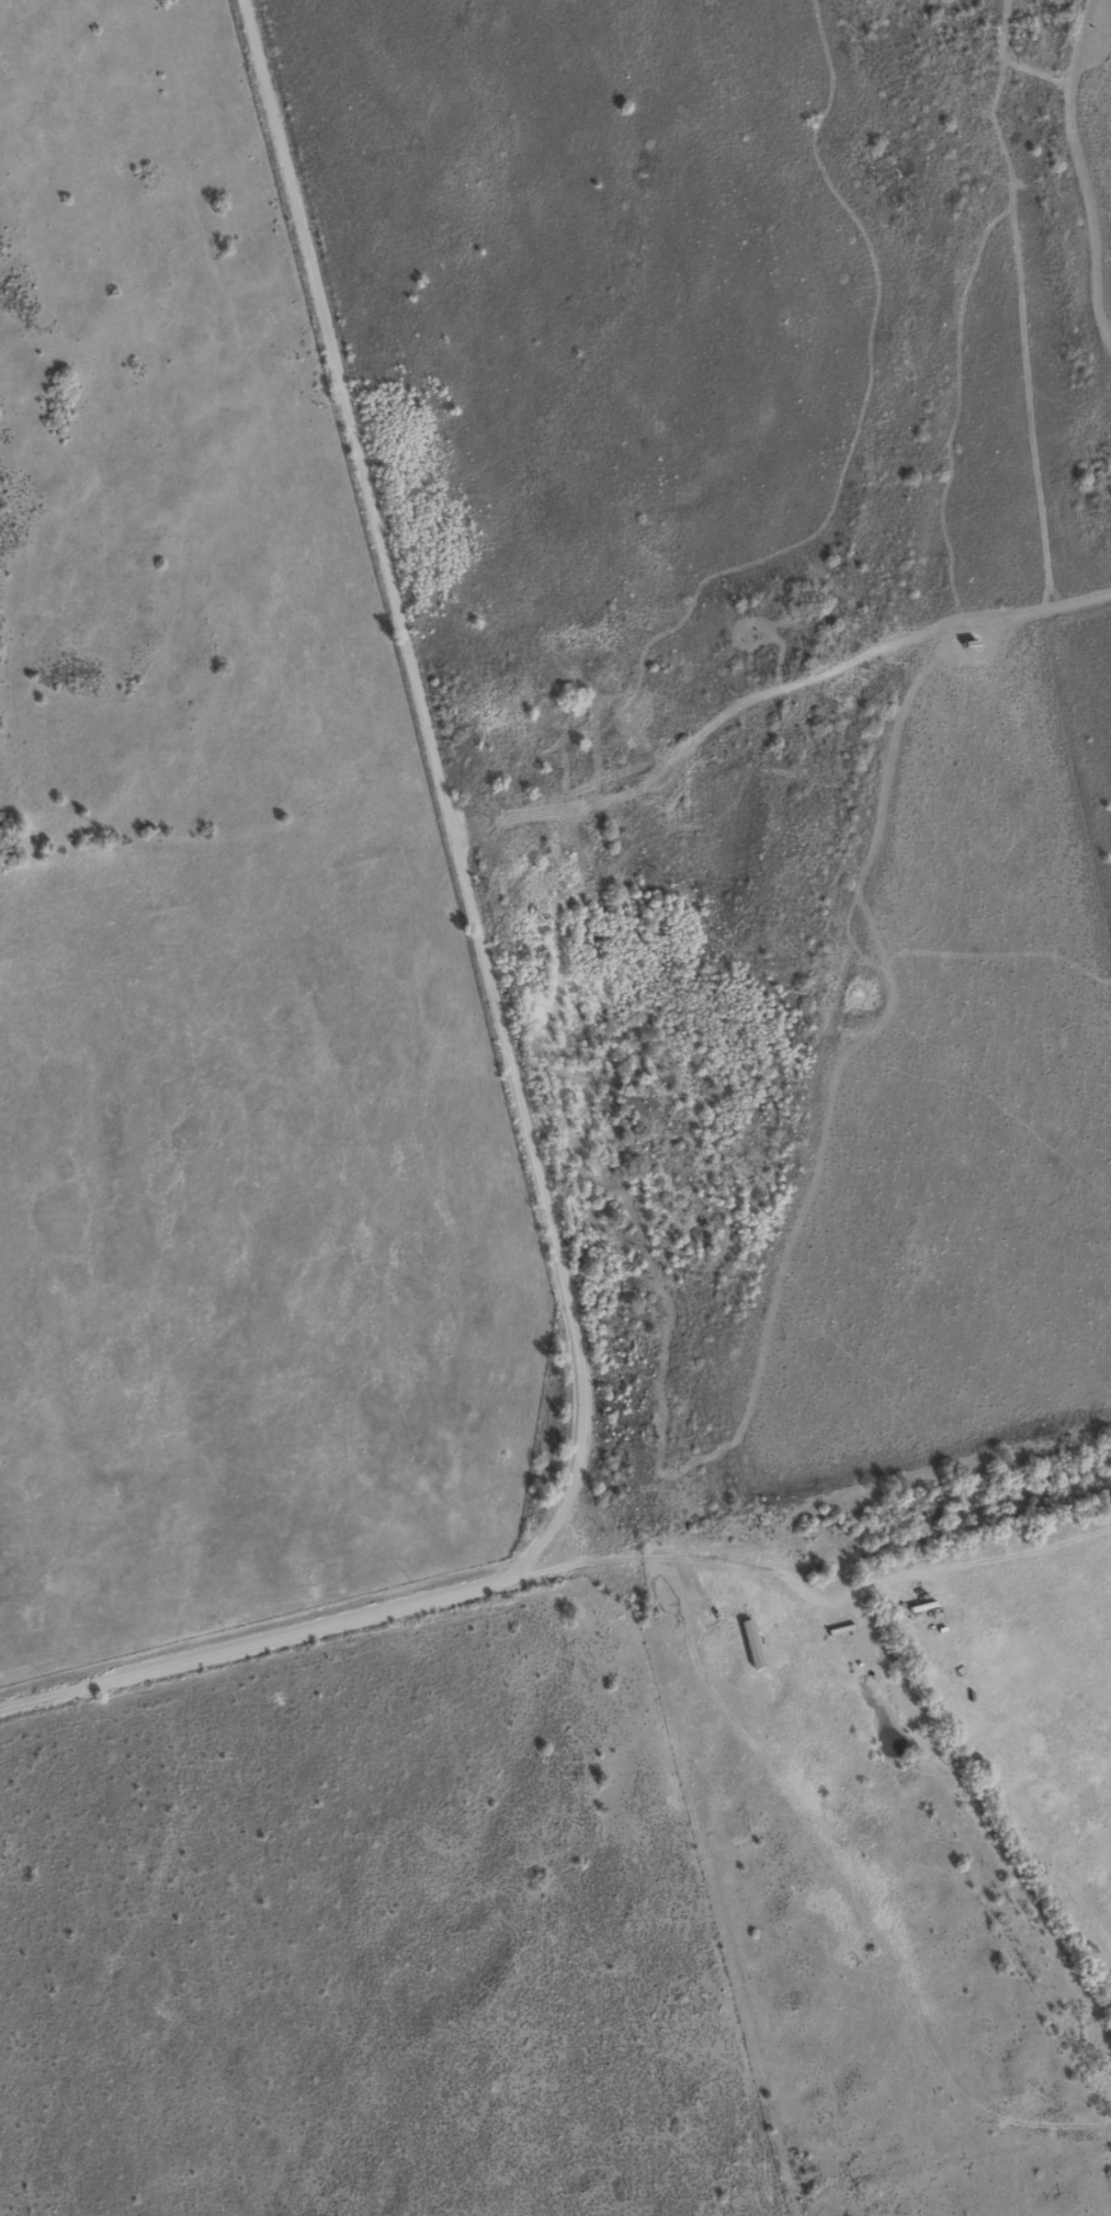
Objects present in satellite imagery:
road: (1078, 176)
road: (768, 696)
road: (437, 793)
road: (668, 1562)
road: (259, 1641)
building: (745, 1641)

